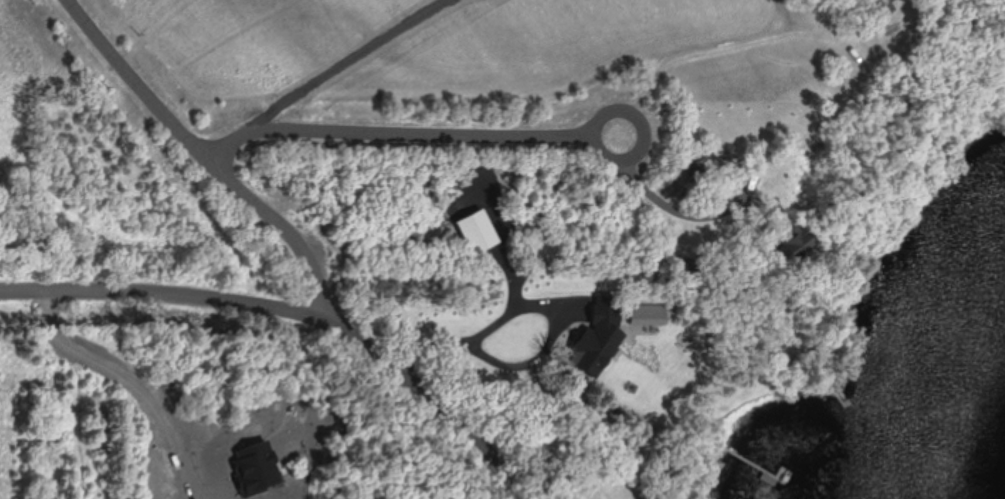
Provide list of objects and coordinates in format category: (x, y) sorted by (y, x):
road: (338, 65)
road: (645, 127)
road: (399, 136)
road: (206, 158)
building: (694, 170)
road: (664, 203)
building: (797, 244)
road: (304, 312)
road: (480, 322)
building: (502, 334)

